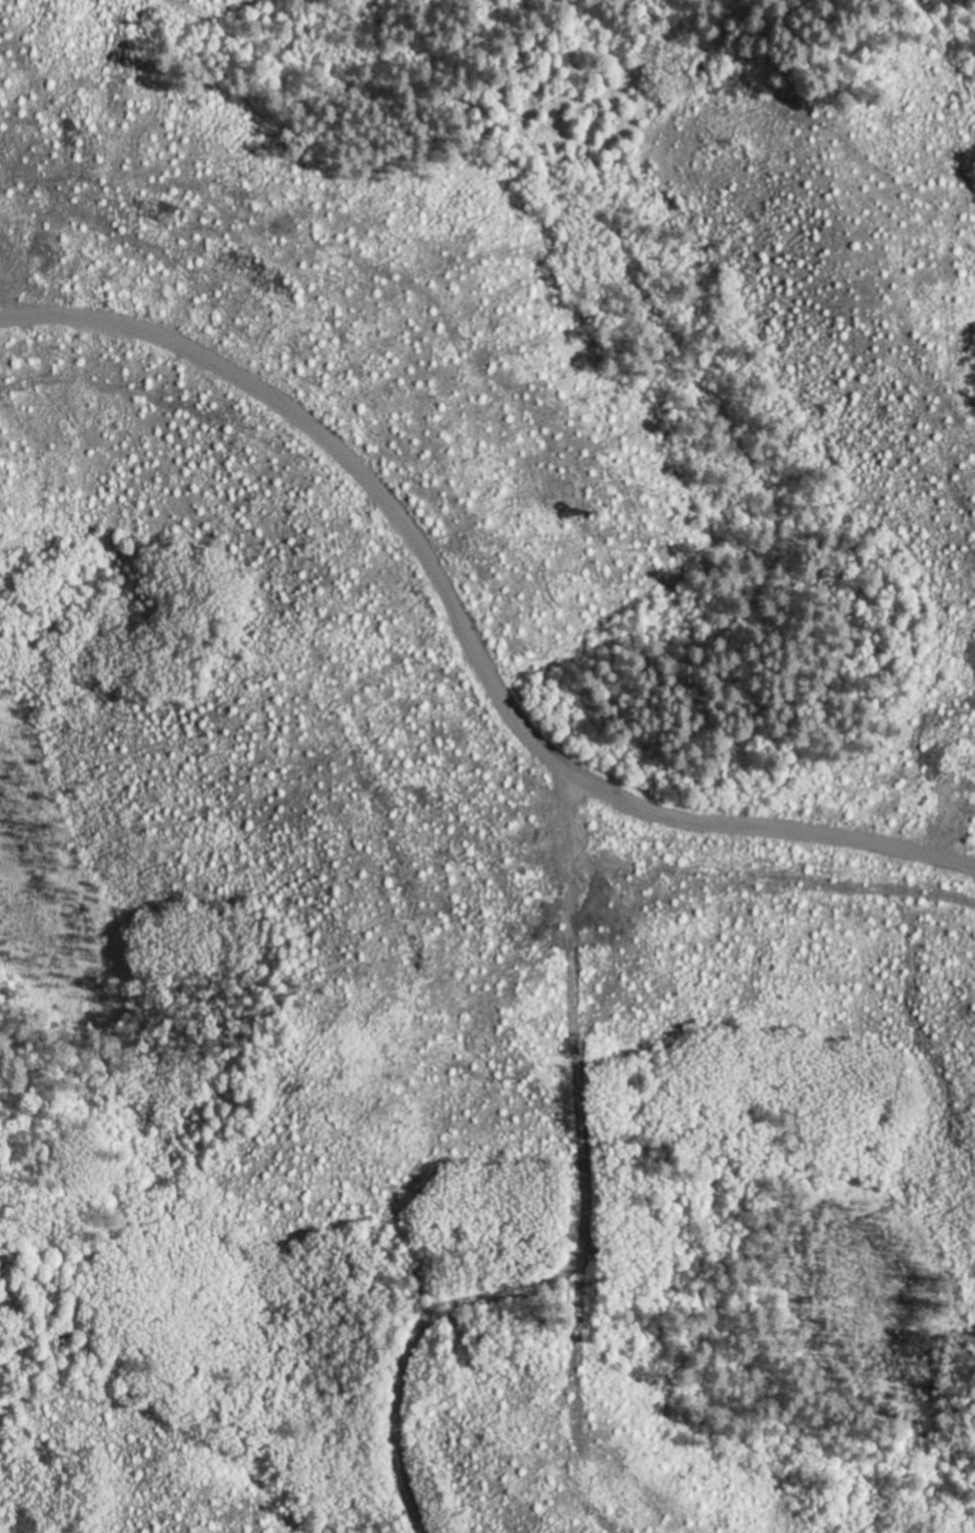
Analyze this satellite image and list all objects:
road: (465, 629)
road: (584, 1205)

